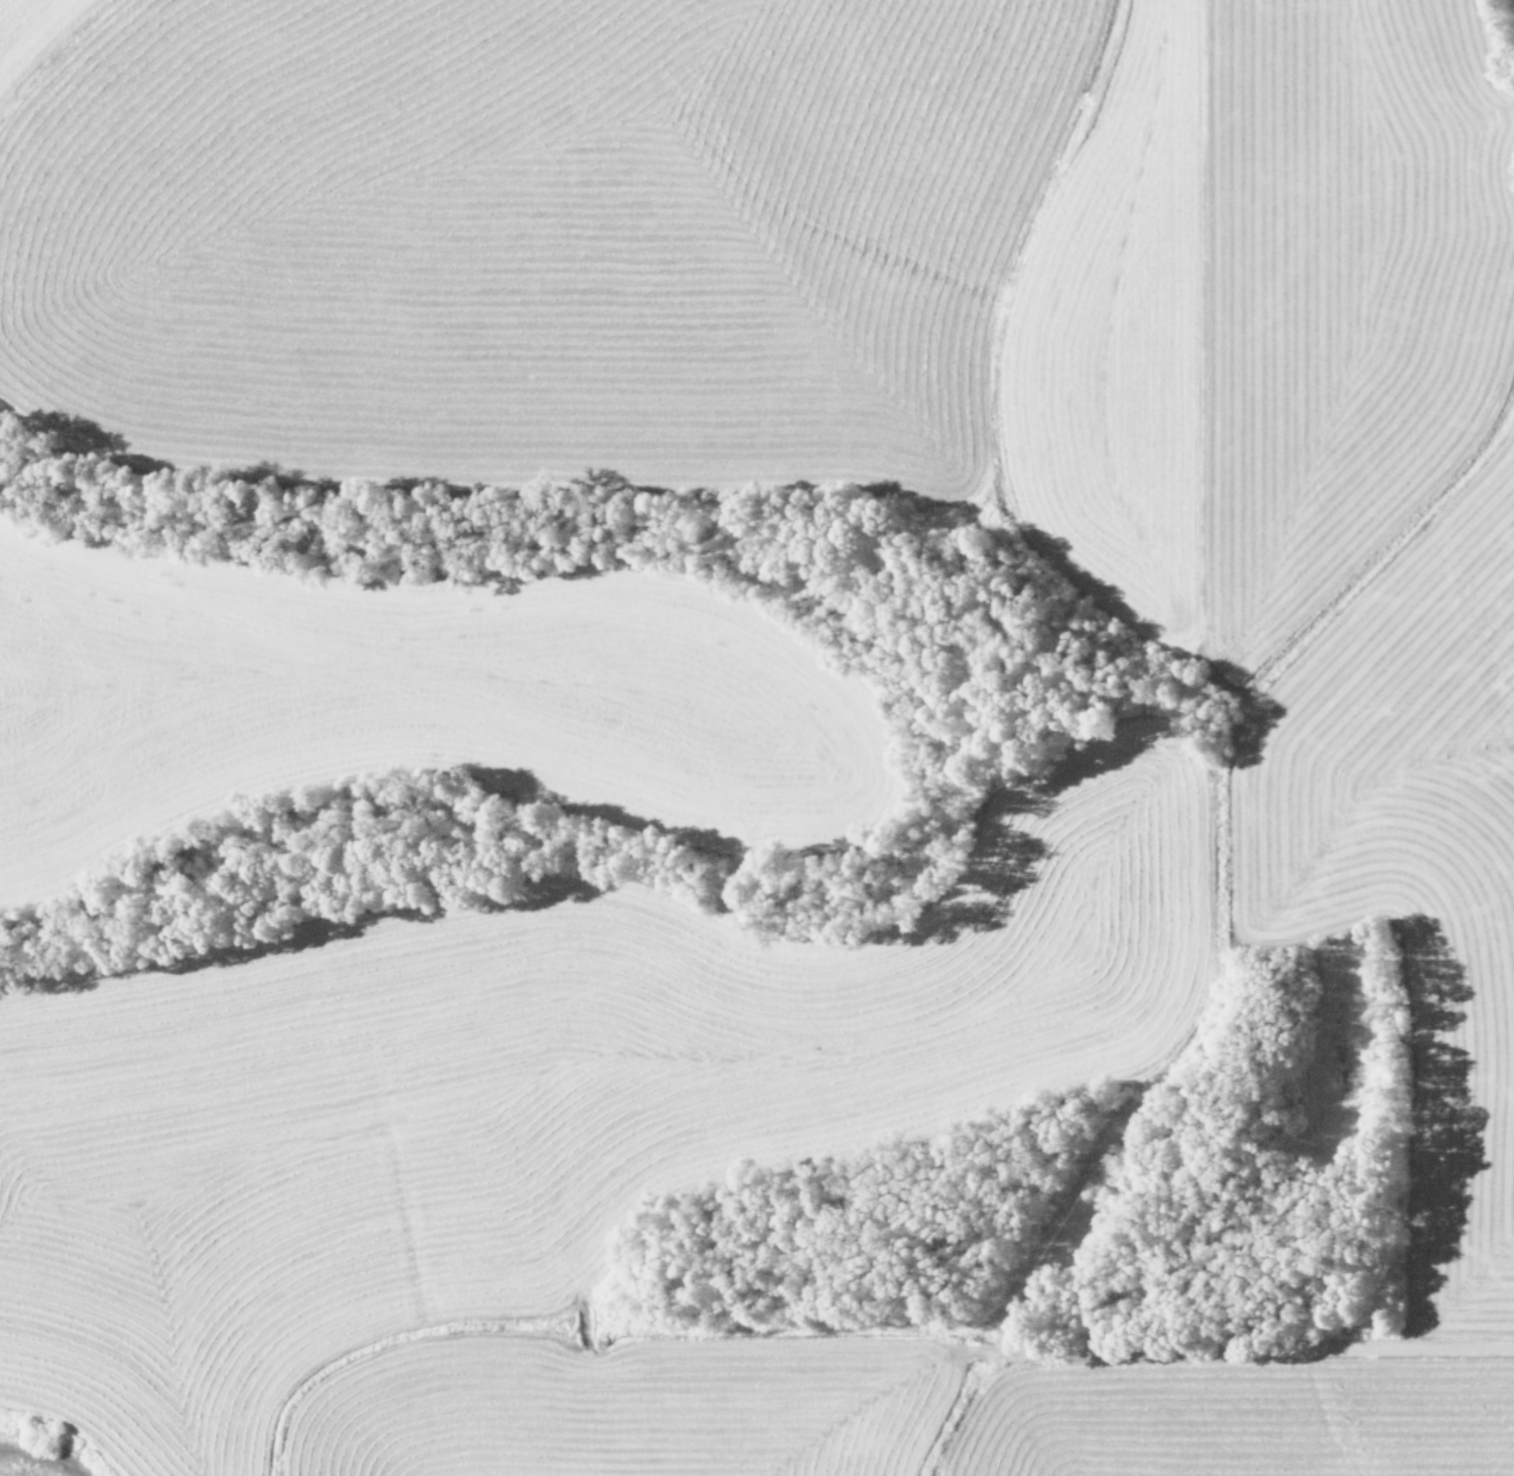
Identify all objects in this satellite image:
crop: (757, 738)

